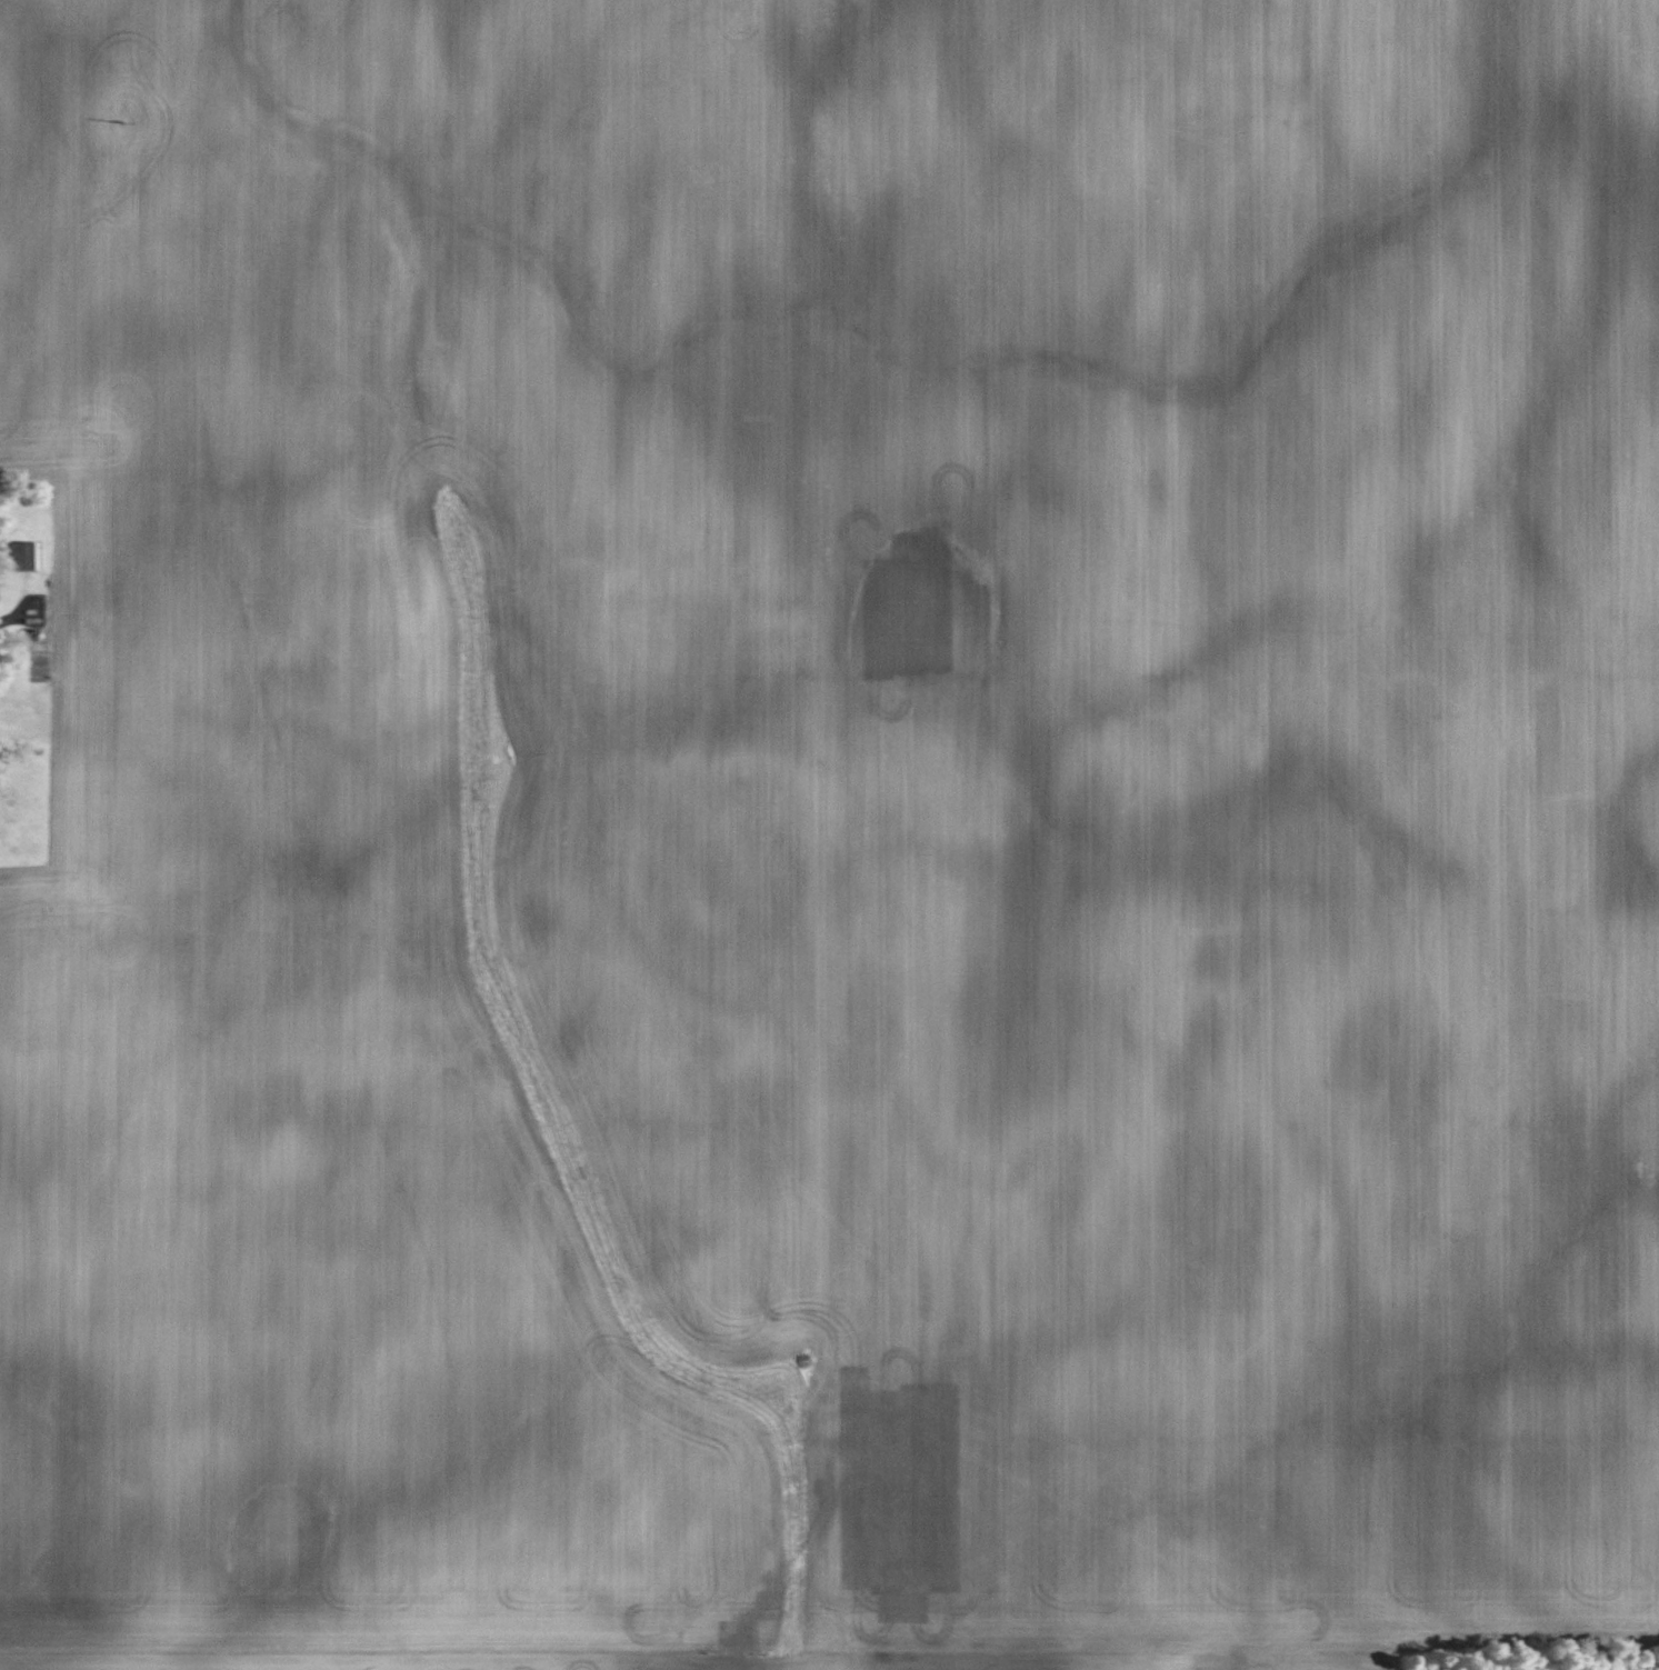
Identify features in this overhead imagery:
building: (26, 556)

